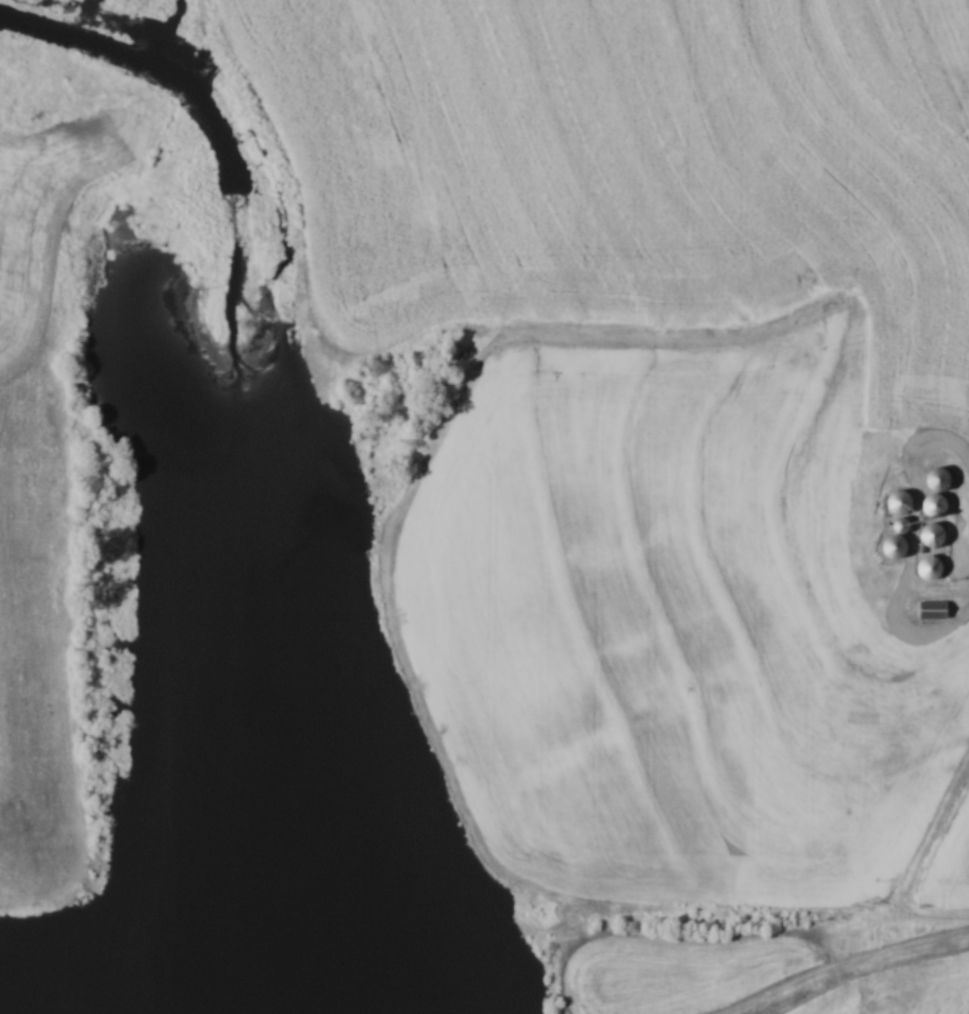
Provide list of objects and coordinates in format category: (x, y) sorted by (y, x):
building: (931, 478)
building: (929, 505)
building: (928, 533)
road: (912, 542)
building: (928, 609)

